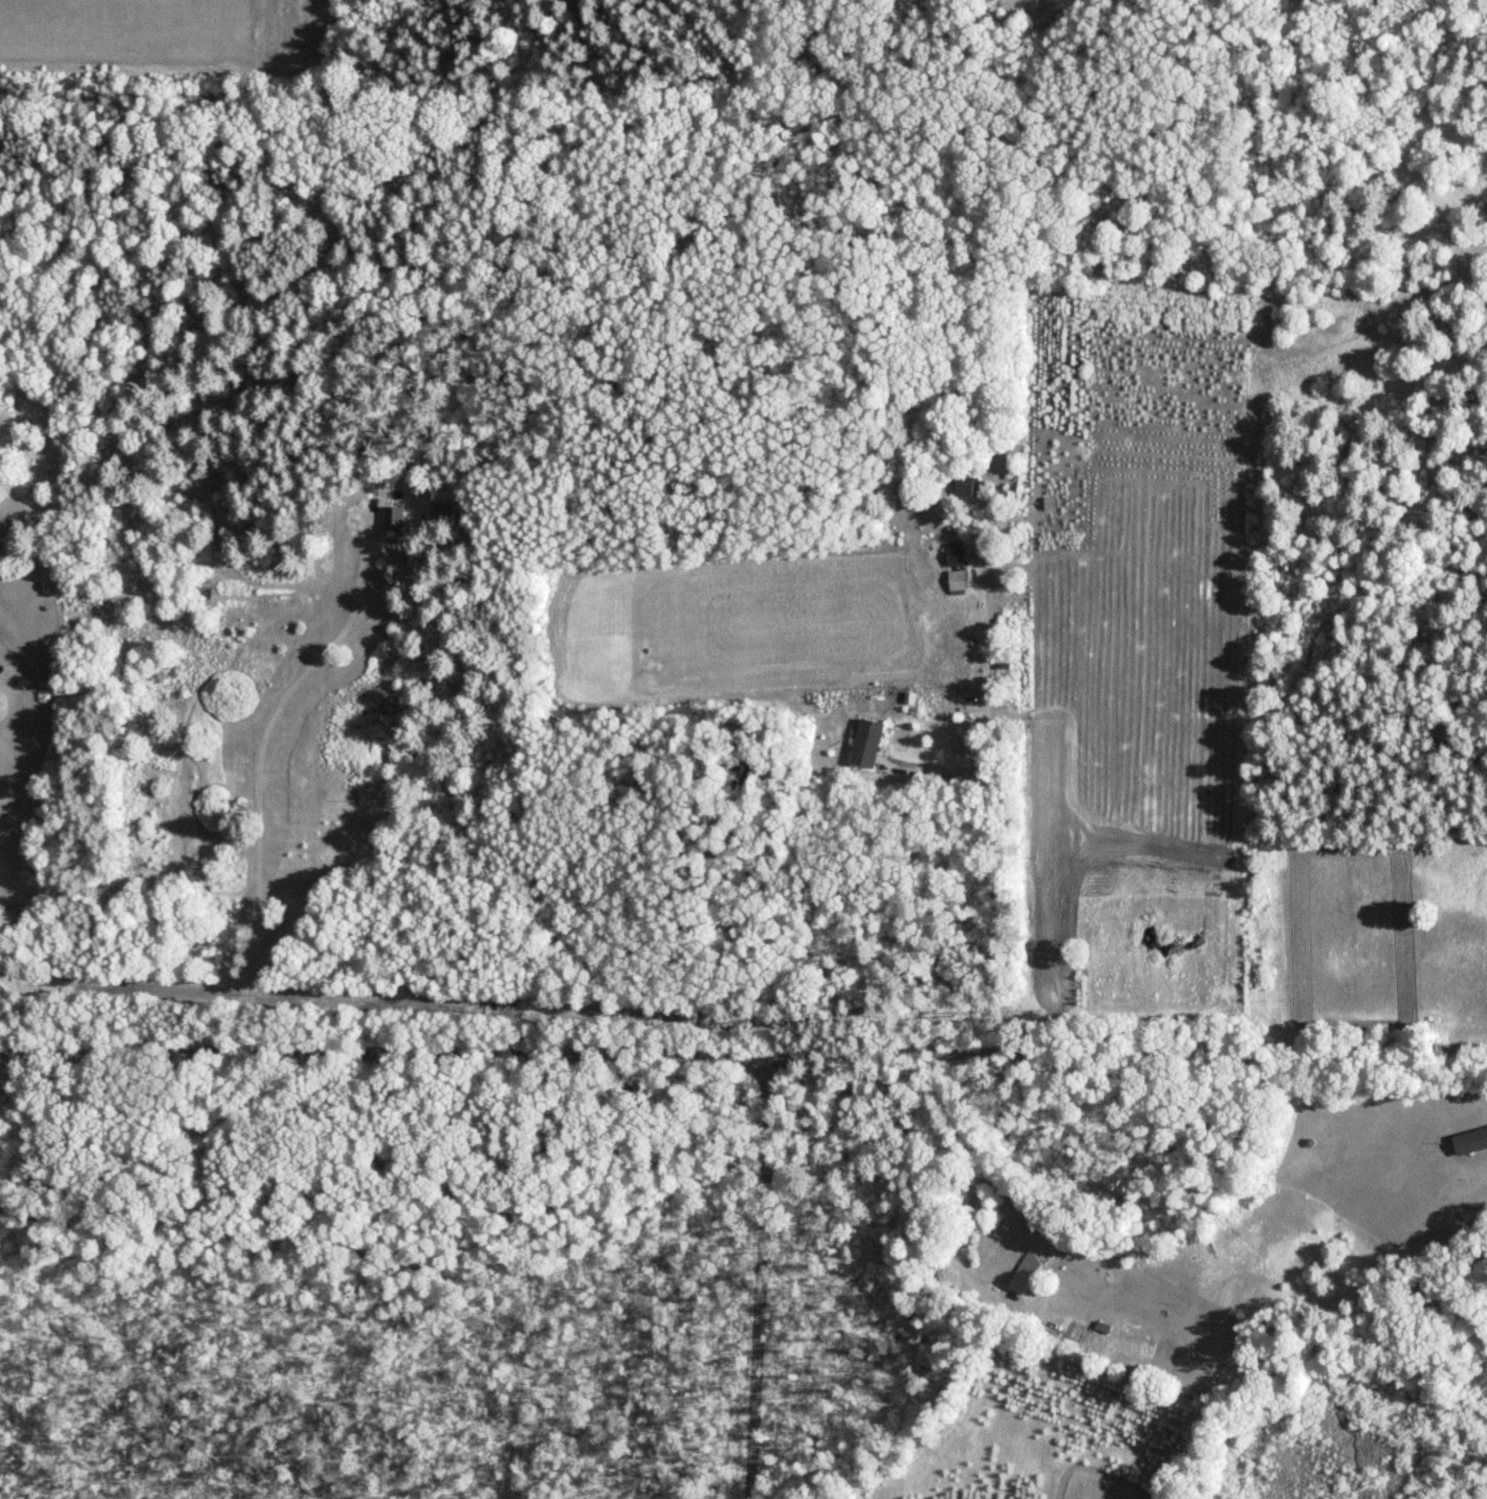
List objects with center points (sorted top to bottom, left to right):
building: (965, 485)
building: (392, 519)
building: (953, 554)
building: (866, 744)
road: (258, 766)
road: (941, 769)
road: (997, 780)
road: (743, 1046)
building: (1470, 1142)
road: (975, 1197)
building: (1025, 1271)
road: (758, 1272)
building: (1101, 1327)

